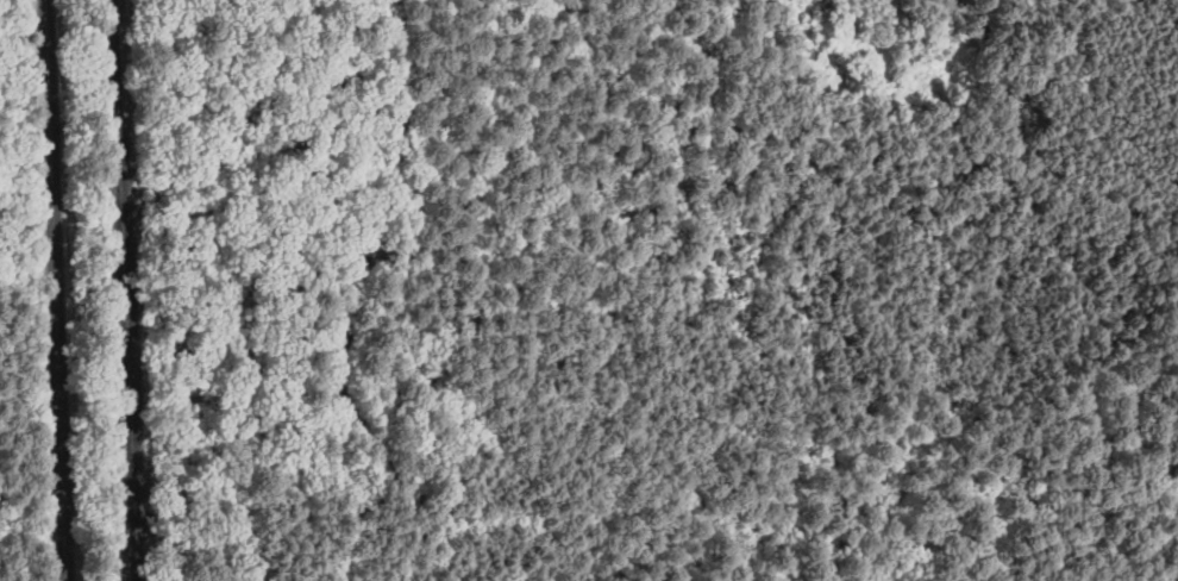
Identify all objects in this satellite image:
road: (958, 1)
road: (965, 1)
road: (1165, 48)
road: (1173, 230)
road: (806, 258)
road: (56, 290)
railway: (125, 290)
road: (252, 295)
road: (356, 298)
road: (574, 333)

